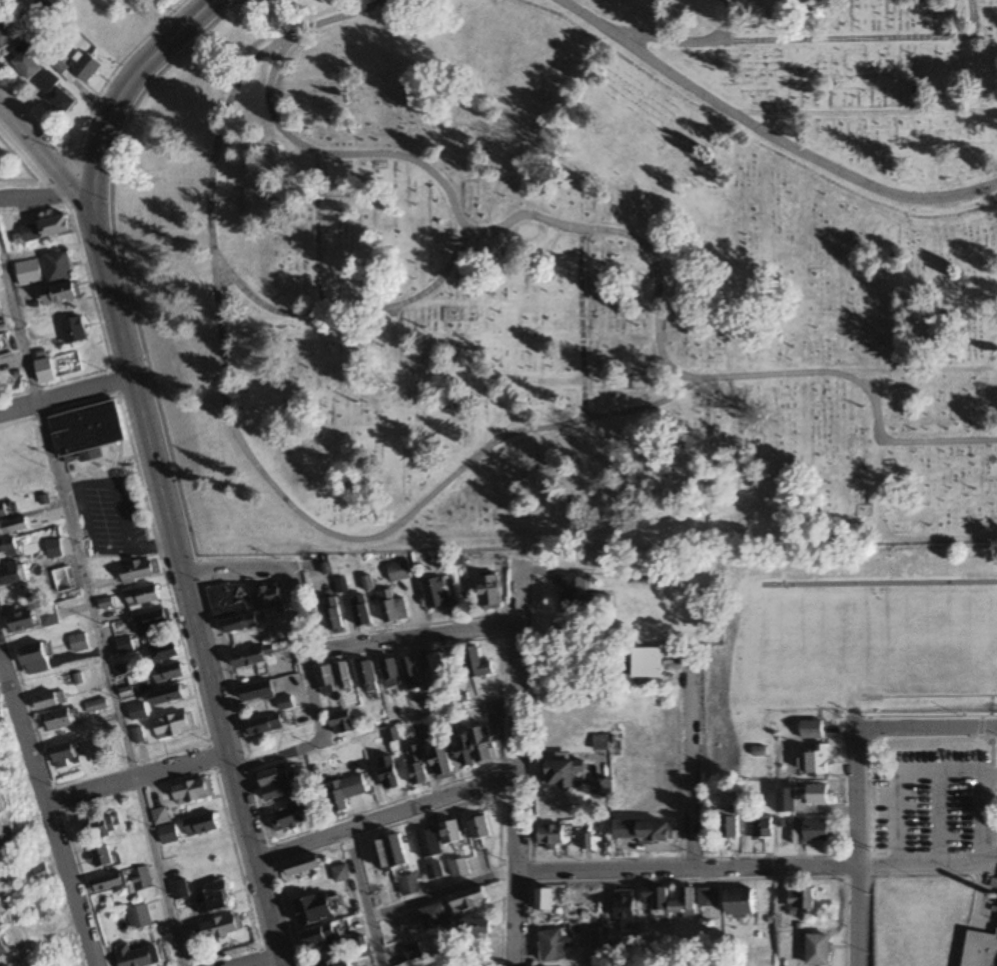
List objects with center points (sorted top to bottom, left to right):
road: (724, 20)
building: (24, 23)
road: (808, 40)
building: (26, 63)
building: (87, 68)
road: (126, 85)
building: (55, 94)
road: (865, 114)
road: (765, 133)
road: (746, 139)
road: (41, 149)
park: (14, 171)
road: (41, 196)
road: (465, 227)
building: (42, 230)
road: (317, 232)
building: (58, 266)
road: (120, 266)
park: (574, 275)
building: (26, 276)
building: (60, 294)
building: (0, 308)
road: (581, 324)
building: (73, 330)
building: (5, 350)
building: (45, 371)
road: (697, 378)
road: (63, 394)
building: (86, 431)
road: (243, 446)
building: (4, 511)
building: (13, 527)
building: (8, 547)
building: (53, 549)
building: (399, 571)
building: (138, 572)
building: (12, 574)
road: (182, 579)
building: (340, 586)
building: (490, 591)
building: (436, 593)
building: (270, 594)
building: (143, 597)
building: (584, 597)
building: (229, 599)
building: (392, 607)
building: (361, 610)
road: (92, 611)
building: (332, 615)
building: (48, 616)
building: (22, 622)
building: (152, 623)
building: (241, 623)
building: (78, 643)
building: (124, 645)
road: (320, 649)
building: (163, 653)
building: (251, 657)
building: (34, 659)
building: (477, 664)
building: (647, 664)
building: (439, 670)
building: (169, 673)
building: (411, 674)
building: (391, 675)
building: (344, 677)
building: (367, 678)
building: (326, 680)
building: (257, 691)
building: (166, 696)
building: (49, 701)
building: (285, 703)
building: (96, 706)
building: (496, 710)
building: (137, 712)
building: (0, 715)
building: (58, 720)
building: (340, 724)
building: (173, 726)
building: (265, 726)
building: (447, 727)
building: (812, 730)
road: (927, 731)
building: (420, 732)
building: (387, 737)
road: (316, 740)
building: (600, 743)
building: (484, 746)
building: (464, 753)
building: (65, 754)
building: (440, 762)
building: (818, 762)
road: (516, 765)
building: (416, 767)
building: (388, 774)
building: (563, 774)
road: (698, 774)
road: (132, 776)
building: (278, 783)
building: (601, 788)
building: (192, 791)
building: (344, 793)
building: (818, 795)
building: (787, 801)
road: (44, 812)
building: (298, 814)
road: (383, 816)
building: (160, 817)
building: (201, 825)
building: (729, 826)
building: (480, 828)
building: (763, 828)
building: (100, 829)
building: (451, 833)
building: (656, 833)
building: (815, 833)
building: (168, 835)
building: (551, 836)
building: (428, 844)
road: (857, 847)
building: (392, 856)
building: (102, 858)
road: (928, 862)
building: (303, 867)
building: (459, 869)
building: (434, 872)
road: (684, 872)
building: (341, 874)
road: (356, 874)
building: (41, 876)
building: (141, 880)
building: (109, 884)
building: (409, 886)
building: (657, 898)
building: (709, 898)
building: (214, 899)
building: (801, 899)
building: (380, 900)
building: (469, 901)
building: (547, 902)
building: (741, 902)
road: (416, 903)
building: (685, 904)
building: (625, 905)
building: (315, 911)
building: (434, 916)
building: (138, 918)
building: (222, 928)
building: (478, 929)
building: (322, 937)
building: (555, 944)
building: (361, 947)
building: (818, 950)
building: (980, 950)
building: (2, 952)
building: (413, 953)
building: (136, 956)
road: (253, 960)
building: (337, 962)

